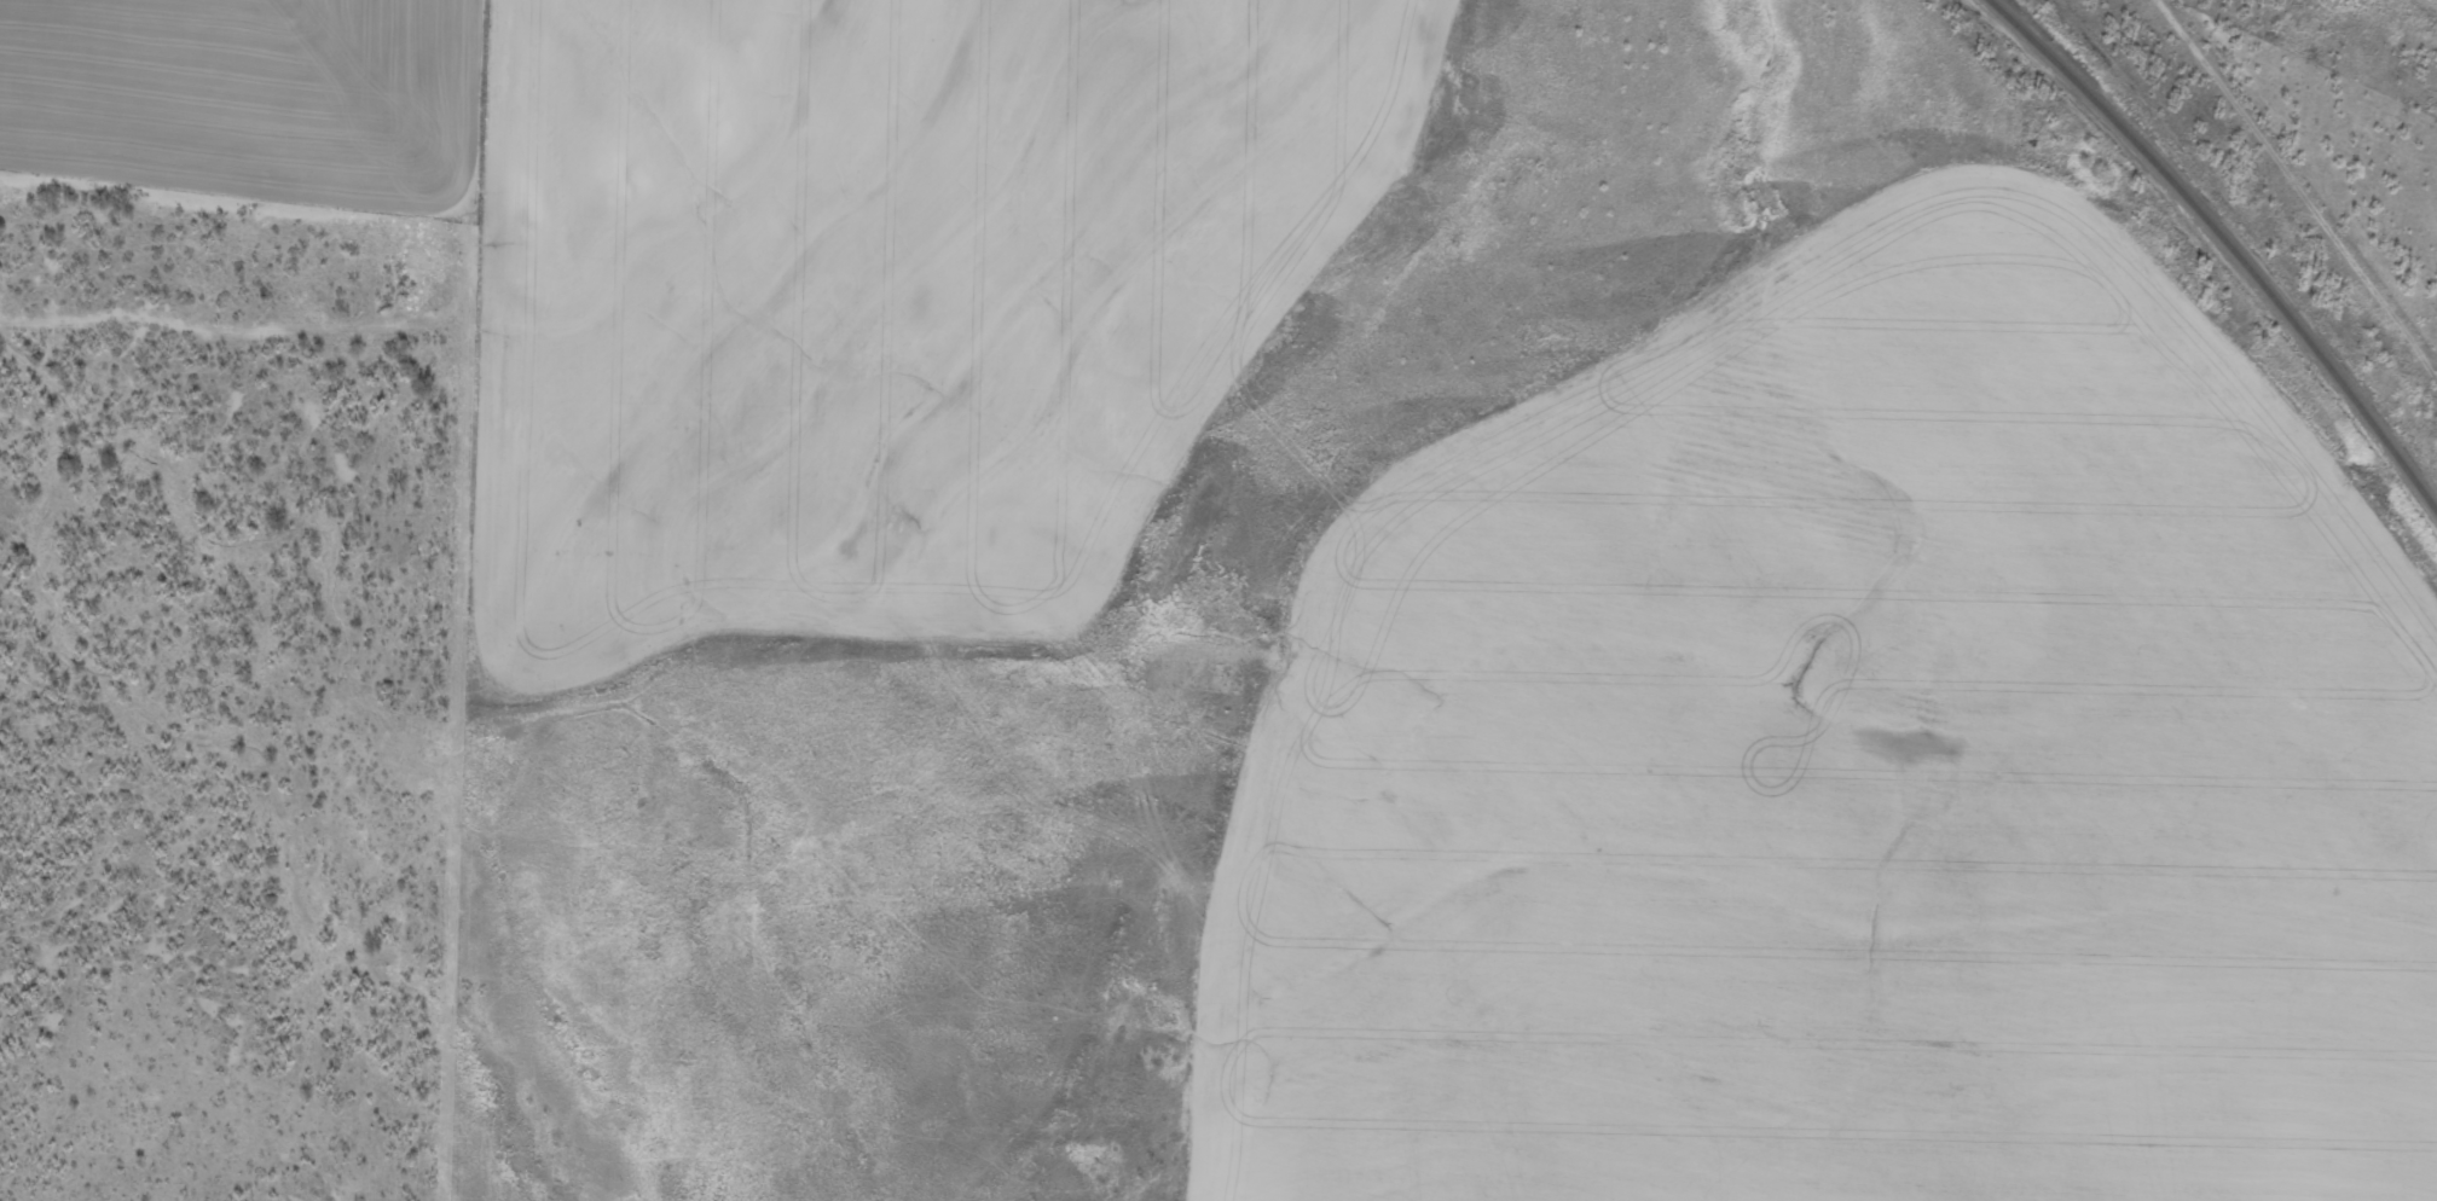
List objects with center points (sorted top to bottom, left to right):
road: (2296, 191)
railway: (2227, 242)

